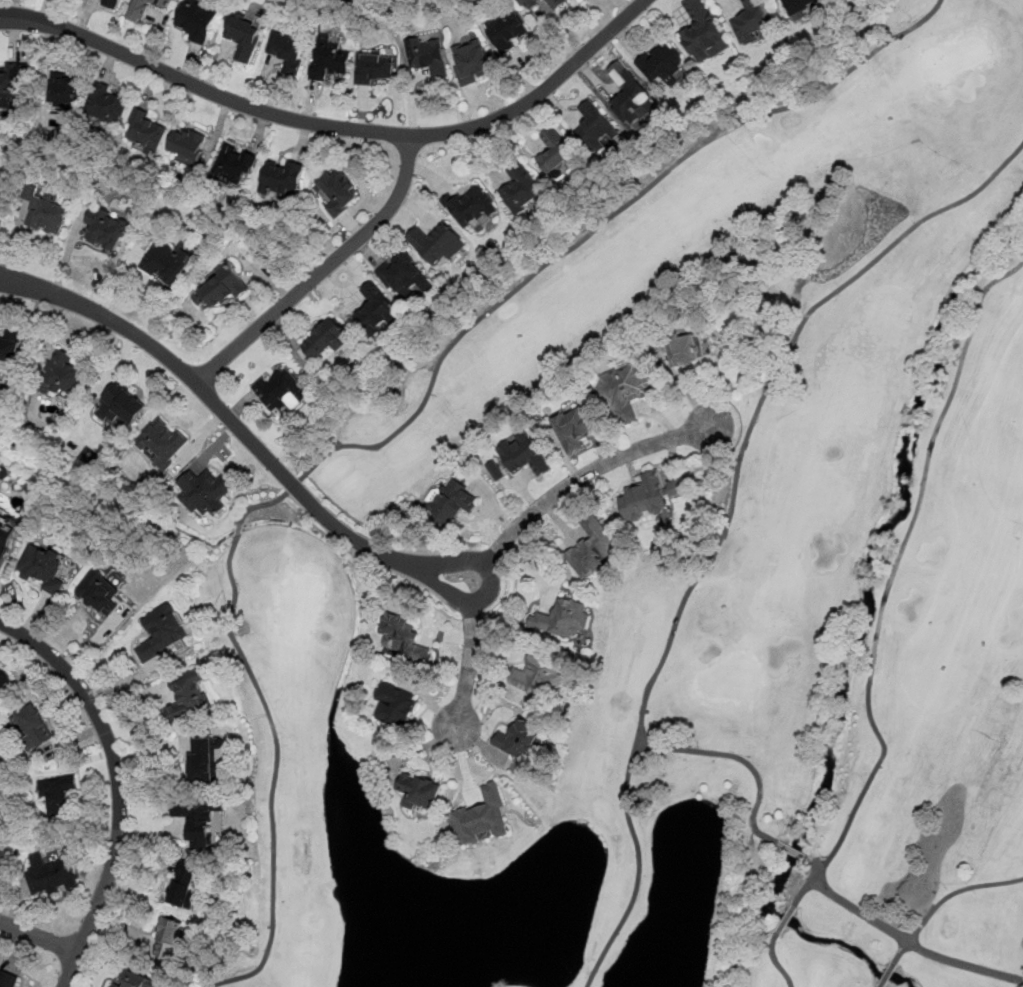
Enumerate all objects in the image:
building: (168, 1)
building: (529, 3)
building: (556, 3)
building: (110, 4)
building: (142, 8)
building: (799, 8)
building: (196, 22)
building: (750, 22)
building: (507, 31)
building: (243, 37)
building: (704, 39)
building: (287, 52)
building: (428, 57)
building: (329, 61)
building: (471, 62)
building: (661, 64)
building: (373, 68)
building: (11, 83)
building: (62, 90)
building: (630, 98)
building: (108, 103)
road: (336, 127)
building: (593, 128)
building: (146, 131)
building: (187, 144)
building: (556, 153)
building: (233, 164)
building: (280, 179)
building: (520, 189)
building: (337, 192)
building: (472, 208)
building: (49, 213)
building: (105, 229)
building: (436, 243)
building: (163, 264)
road: (323, 271)
building: (407, 274)
building: (224, 286)
building: (375, 310)
building: (325, 339)
building: (9, 346)
building: (698, 346)
building: (64, 374)
building: (276, 390)
building: (623, 391)
building: (120, 405)
road: (238, 426)
building: (581, 426)
building: (162, 441)
building: (523, 456)
road: (577, 480)
building: (207, 493)
building: (655, 495)
building: (451, 503)
road: (729, 506)
building: (6, 537)
building: (592, 549)
building: (45, 570)
park: (712, 571)
road: (890, 580)
building: (99, 593)
building: (567, 619)
building: (162, 633)
building: (404, 639)
road: (471, 654)
building: (542, 677)
building: (3, 680)
building: (186, 698)
building: (394, 705)
building: (32, 727)
building: (518, 739)
road: (737, 759)
building: (210, 760)
road: (118, 785)
building: (420, 791)
building: (58, 795)
building: (481, 818)
building: (203, 820)
building: (4, 860)
building: (52, 875)
building: (184, 886)
road: (944, 899)
road: (38, 937)
building: (169, 937)
road: (906, 939)
road: (775, 960)
road: (595, 972)
building: (8, 980)
building: (138, 980)
road: (589, 984)
building: (115, 986)

